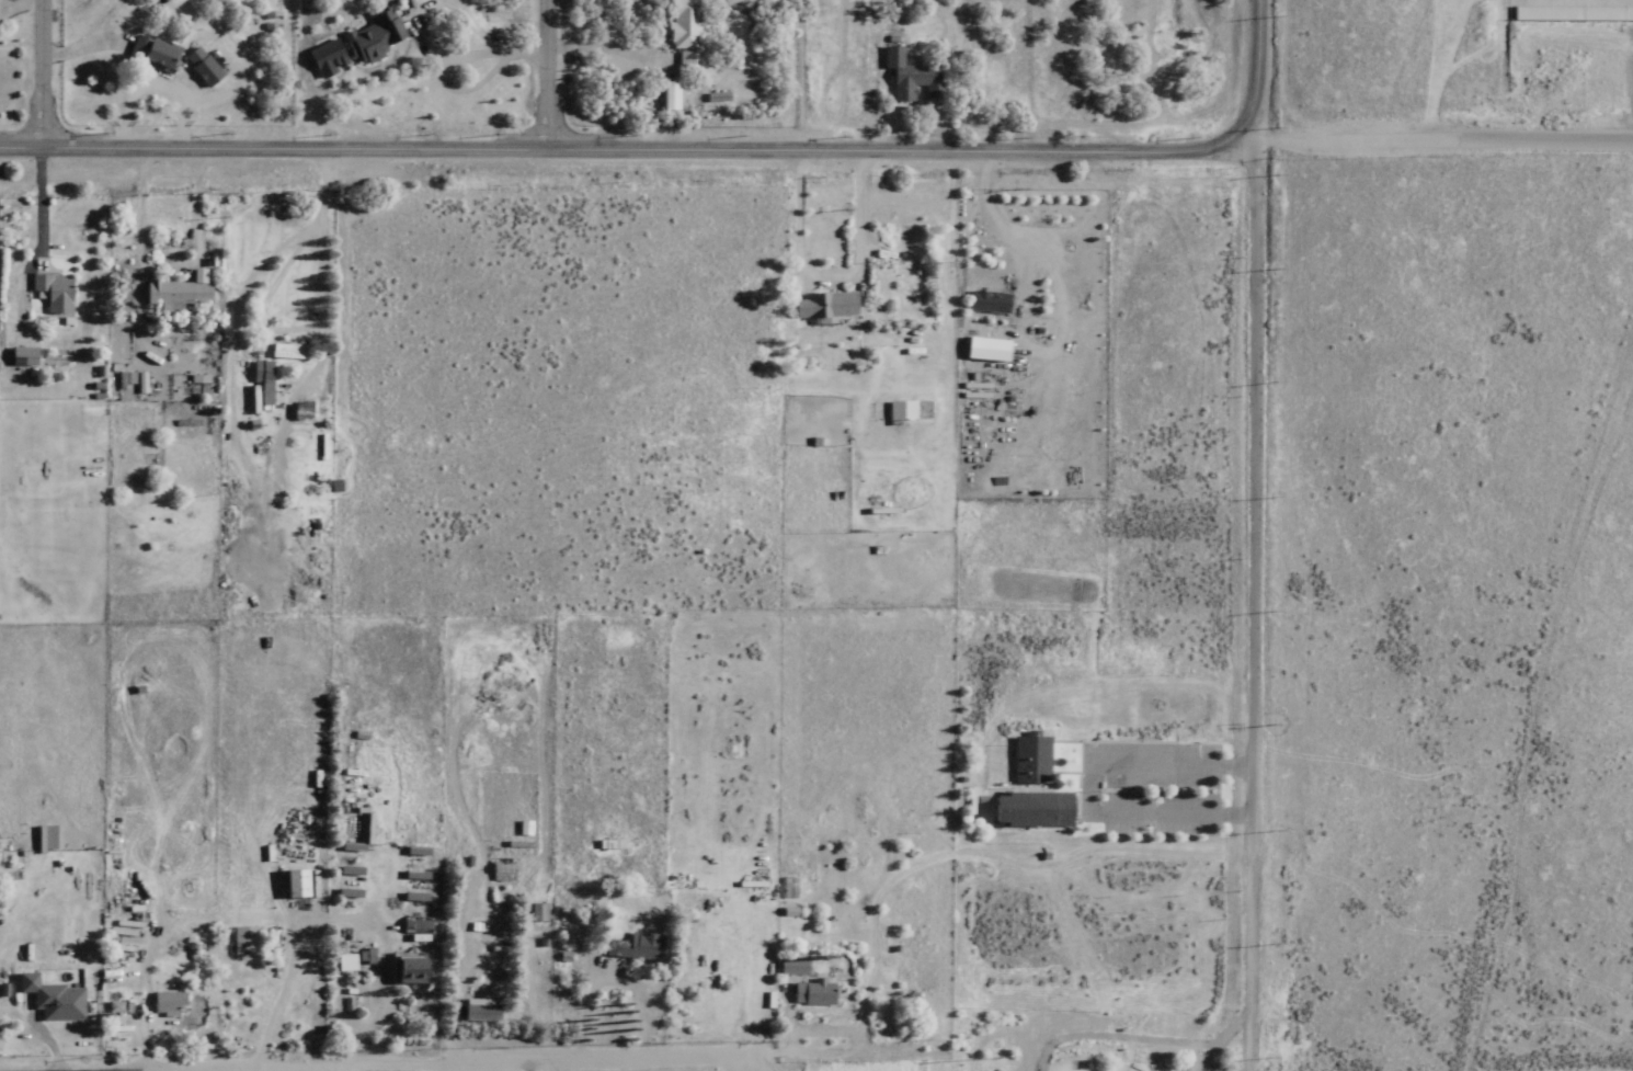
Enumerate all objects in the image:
building: (1576, 12)
building: (677, 24)
building: (368, 37)
road: (1257, 45)
building: (149, 54)
building: (198, 66)
building: (688, 69)
road: (529, 72)
road: (32, 76)
building: (909, 78)
building: (664, 96)
road: (1444, 130)
road: (643, 147)
road: (1007, 226)
road: (827, 274)
building: (49, 290)
building: (171, 293)
building: (987, 303)
building: (822, 307)
building: (283, 350)
building: (18, 355)
building: (255, 395)
building: (296, 409)
building: (898, 411)
road: (1257, 591)
building: (1029, 759)
building: (1029, 809)
building: (42, 838)
building: (82, 839)
building: (498, 869)
building: (410, 874)
building: (287, 882)
building: (409, 896)
building: (411, 928)
building: (629, 946)
building: (789, 966)
building: (399, 968)
building: (809, 992)
building: (46, 998)
building: (161, 1003)
building: (471, 1010)
road: (393, 1052)
road: (605, 1059)
road: (548, 1060)
road: (333, 1063)
road: (37, 1068)

